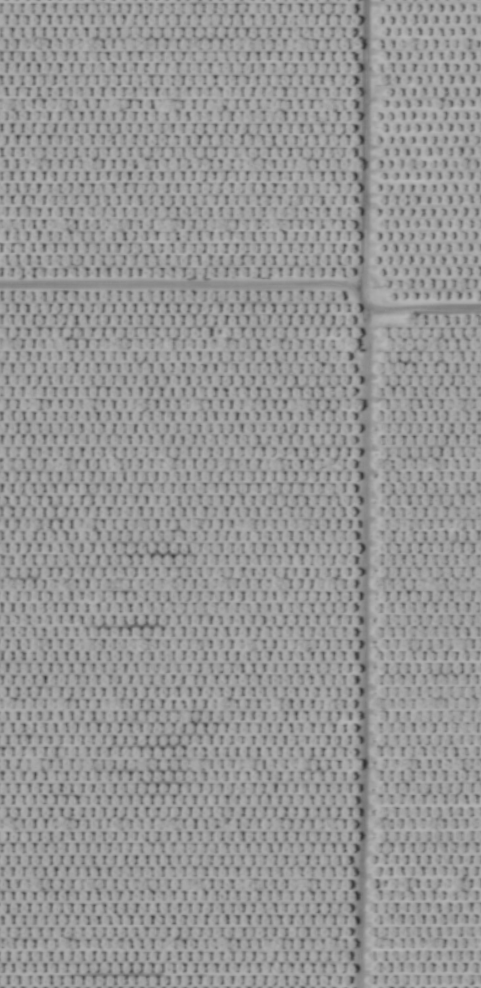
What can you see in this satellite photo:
road: (178, 288)
road: (419, 312)
road: (359, 493)
crop: (240, 494)

